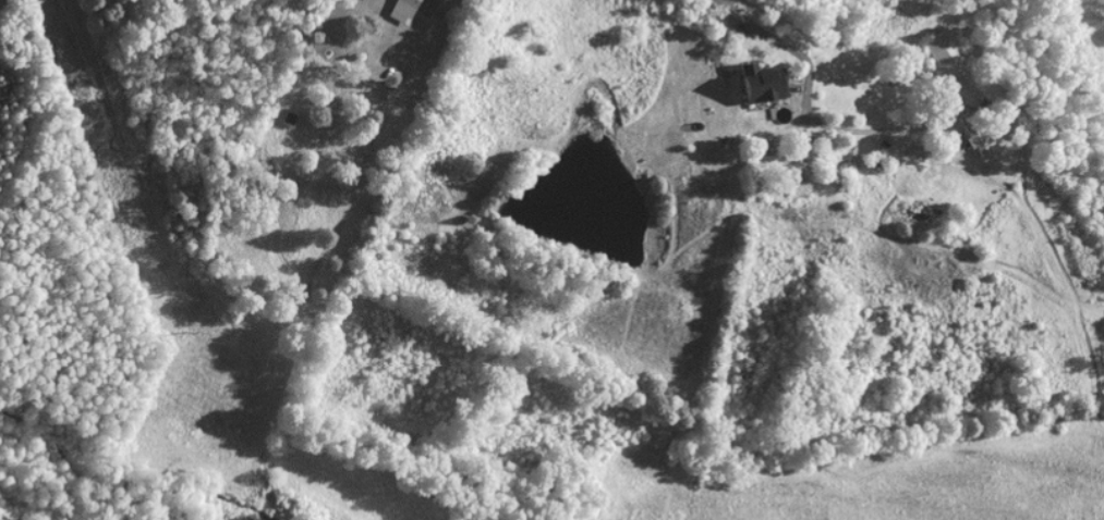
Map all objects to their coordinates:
building: (400, 9)
road: (790, 47)
building: (943, 50)
building: (762, 81)
building: (975, 139)
building: (924, 163)

